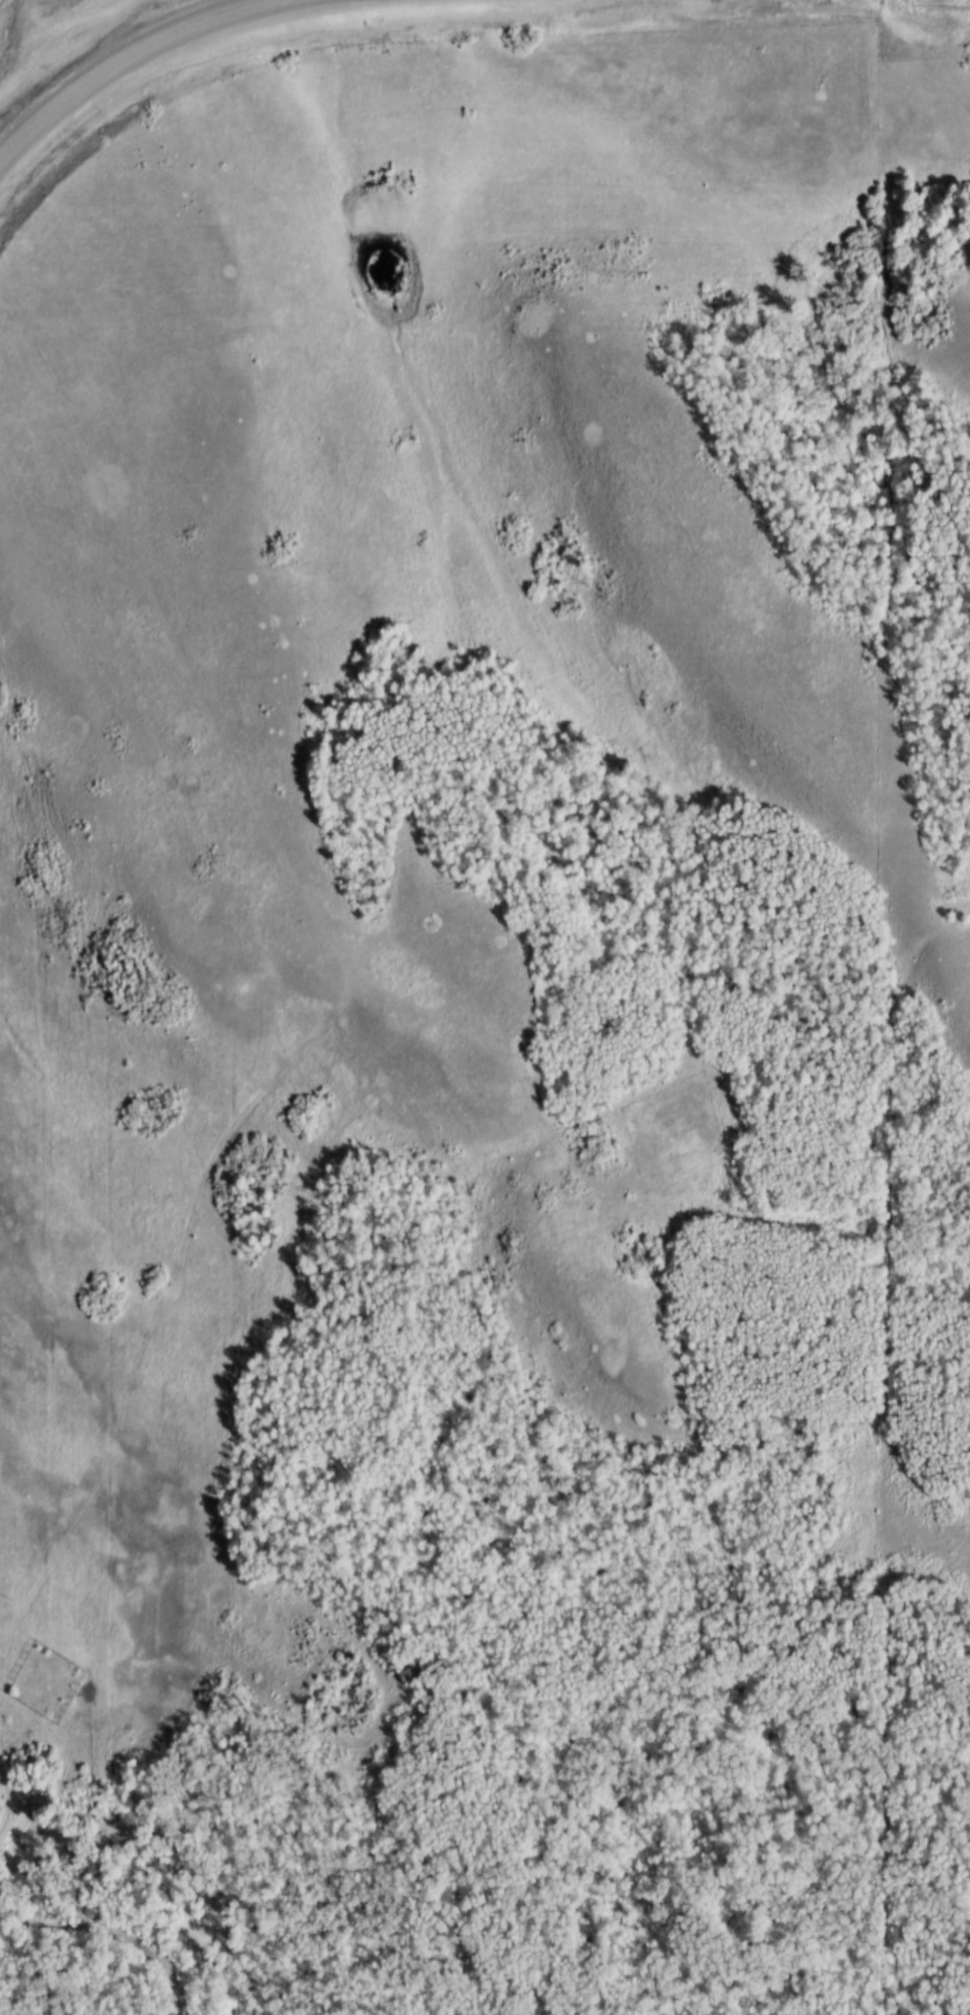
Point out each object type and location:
road: (132, 60)
building: (406, 1672)

